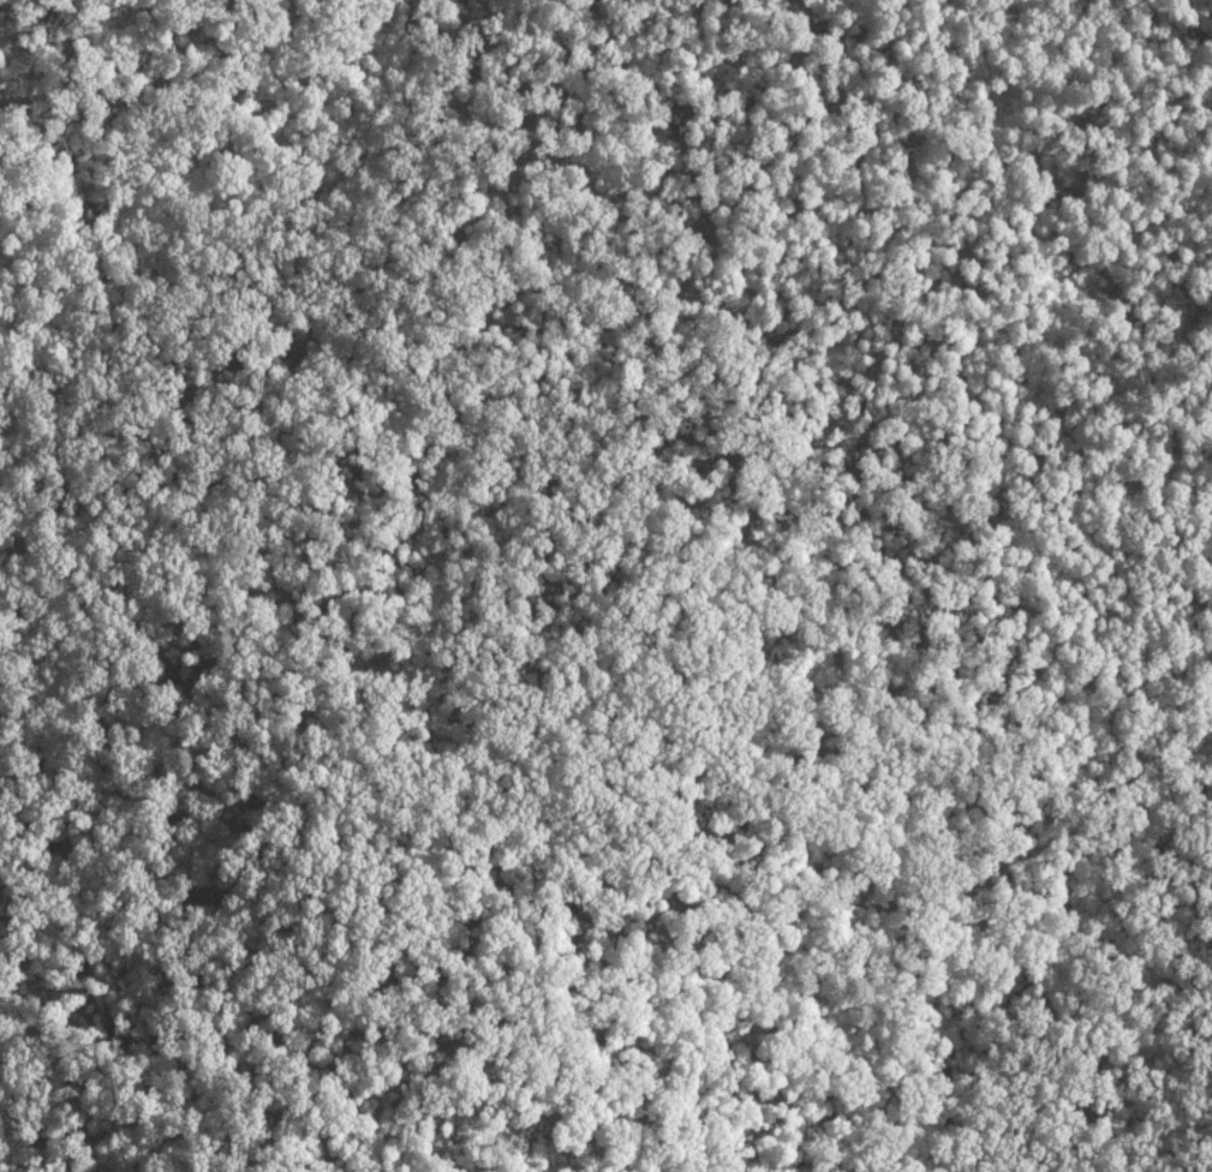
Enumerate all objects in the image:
park: (496, 1087)

